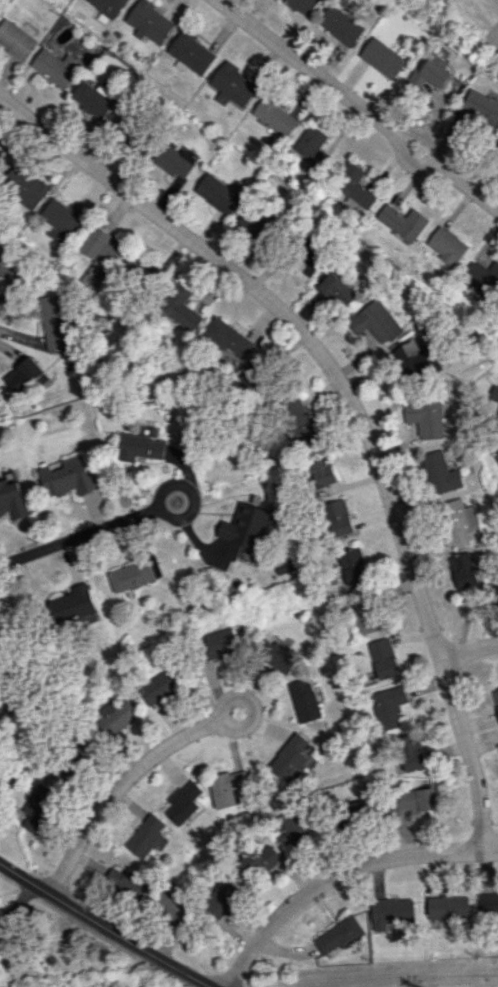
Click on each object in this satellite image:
building: (305, 5)
building: (106, 9)
building: (149, 22)
building: (342, 25)
building: (15, 39)
building: (191, 53)
building: (383, 58)
building: (54, 67)
building: (429, 74)
building: (234, 84)
building: (92, 98)
road: (355, 105)
building: (481, 107)
building: (275, 116)
building: (125, 124)
building: (312, 145)
building: (0, 149)
building: (496, 151)
building: (175, 161)
building: (354, 185)
building: (22, 186)
building: (217, 193)
building: (61, 220)
building: (401, 221)
building: (252, 226)
building: (446, 245)
building: (100, 247)
building: (308, 259)
building: (481, 277)
building: (336, 290)
building: (177, 305)
building: (55, 321)
building: (376, 321)
building: (227, 338)
building: (428, 363)
building: (24, 376)
building: (494, 393)
road: (351, 403)
building: (425, 416)
building: (299, 420)
building: (495, 423)
building: (140, 446)
building: (496, 456)
building: (320, 470)
building: (440, 473)
building: (68, 477)
road: (189, 496)
building: (12, 499)
building: (336, 518)
building: (458, 521)
building: (245, 525)
road: (77, 534)
building: (352, 566)
building: (462, 570)
building: (131, 576)
building: (495, 587)
building: (72, 604)
building: (360, 615)
building: (218, 642)
road: (470, 652)
building: (275, 655)
building: (381, 658)
building: (158, 686)
building: (495, 697)
building: (302, 700)
building: (388, 706)
building: (114, 715)
building: (410, 752)
road: (156, 755)
building: (290, 759)
building: (226, 787)
building: (413, 800)
building: (183, 802)
building: (38, 807)
building: (295, 831)
building: (147, 836)
building: (267, 858)
road: (337, 873)
building: (127, 881)
building: (225, 898)
building: (487, 903)
building: (173, 905)
building: (447, 907)
building: (391, 912)
road: (108, 925)
building: (338, 935)

